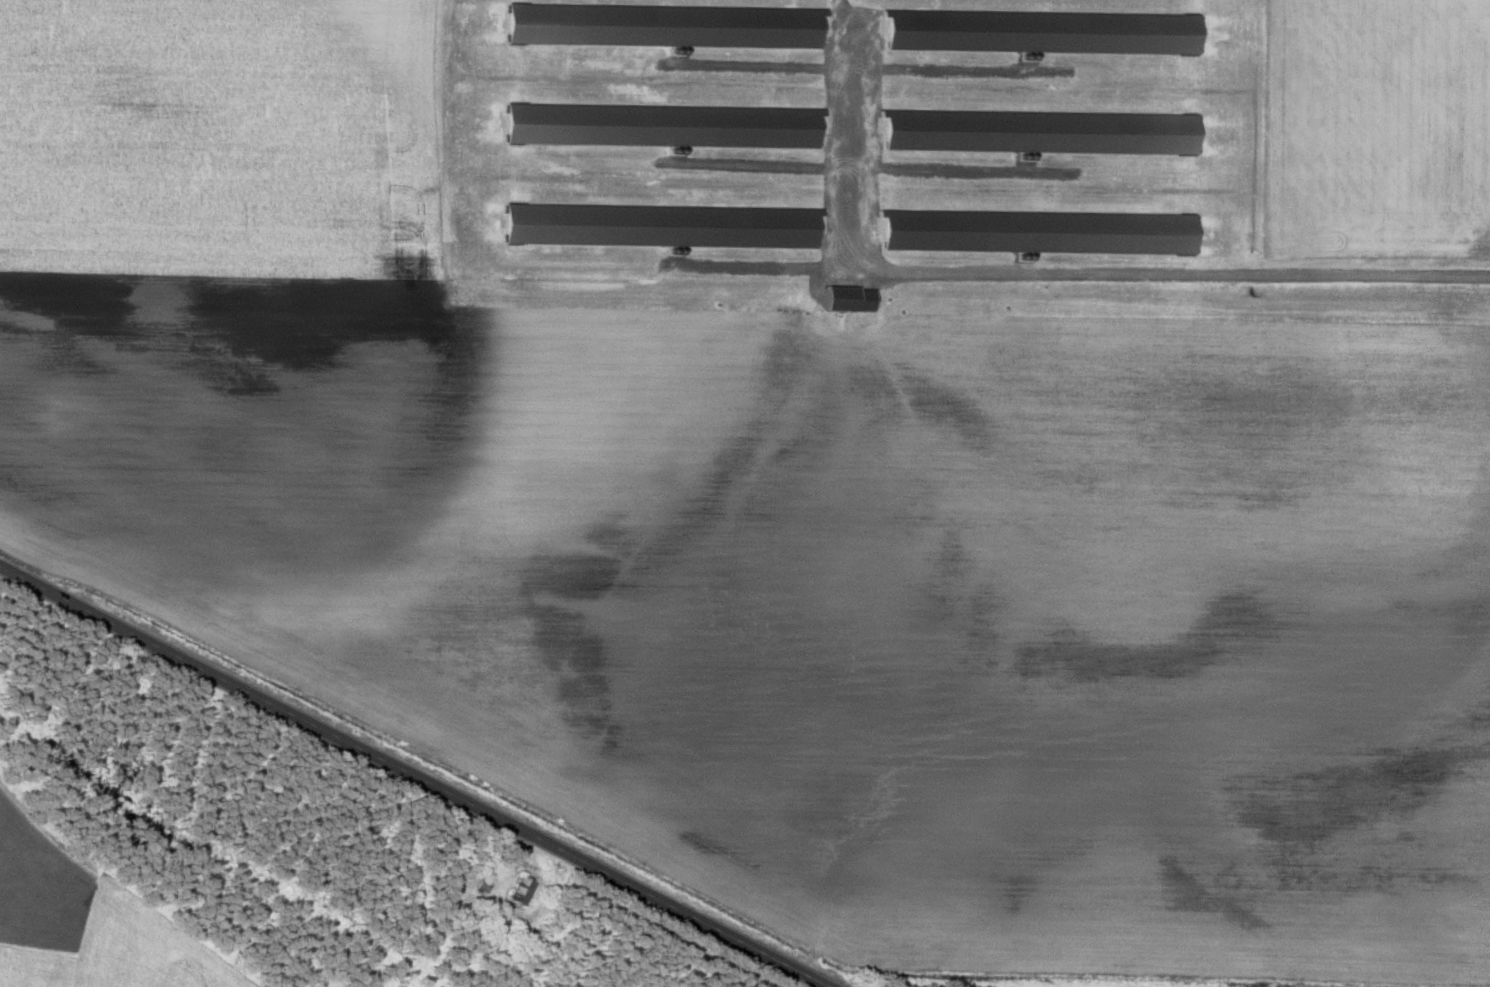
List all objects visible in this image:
building: (1041, 31)
building: (662, 126)
building: (1038, 132)
building: (660, 225)
building: (849, 298)
road: (414, 775)
building: (520, 889)

